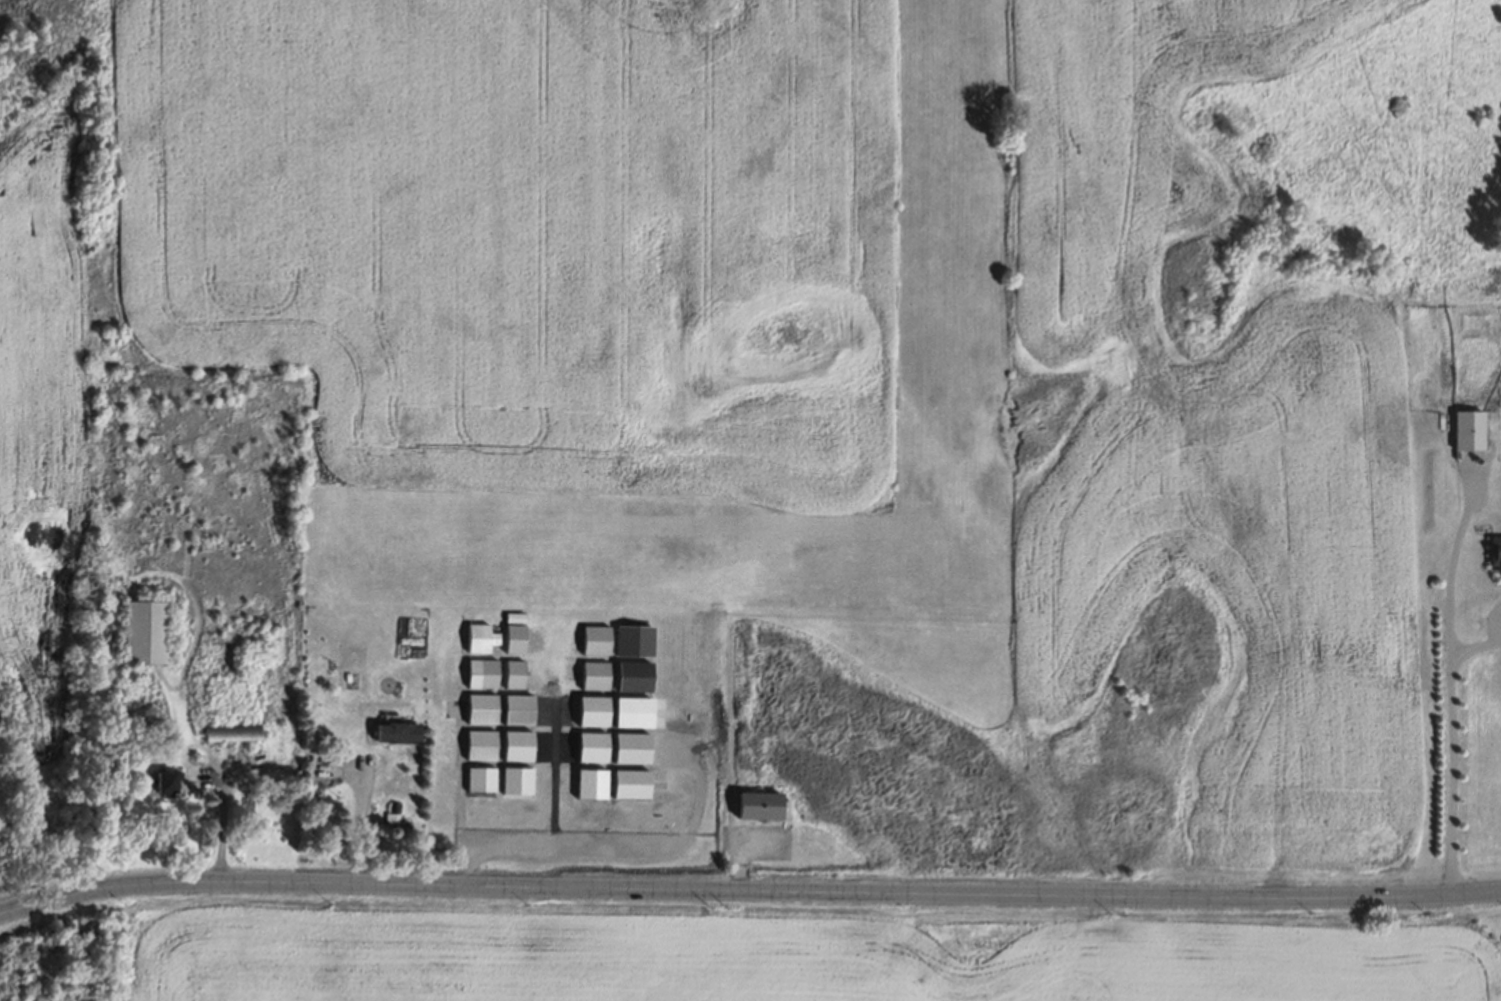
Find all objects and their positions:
airport runway: (586, 192)
airport runway: (951, 348)
airport runway: (519, 416)
building: (1465, 429)
airport runway: (647, 464)
building: (1496, 553)
airport hangar: (511, 616)
building: (511, 616)
building: (146, 634)
airport hangar: (479, 637)
building: (479, 637)
airport hangar: (593, 638)
building: (593, 638)
airport hangar: (513, 639)
building: (513, 639)
airport hangar: (632, 639)
building: (632, 639)
road: (1475, 649)
airport hangar: (481, 672)
building: (481, 672)
airport hangar: (512, 673)
building: (512, 673)
road: (1451, 673)
airport hangar: (591, 675)
building: (591, 675)
airport hangar: (632, 675)
building: (632, 675)
airport hangar: (478, 708)
building: (478, 708)
airport hangar: (516, 708)
building: (516, 708)
airport hangar: (591, 709)
building: (591, 709)
airport hangar: (631, 711)
building: (631, 711)
building: (232, 729)
building: (394, 734)
airport hangar: (477, 742)
building: (477, 742)
airport hangar: (516, 743)
building: (516, 743)
airport hangar: (588, 746)
building: (588, 746)
airport hangar: (632, 747)
building: (632, 747)
airport hangar: (477, 777)
building: (477, 777)
airport hangar: (515, 779)
building: (515, 779)
building: (168, 781)
airport hangar: (593, 783)
building: (593, 783)
airport hangar: (628, 783)
building: (628, 783)
building: (393, 803)
building: (760, 807)
building: (390, 815)
road: (359, 819)
road: (222, 822)
building: (388, 830)
road: (748, 879)

